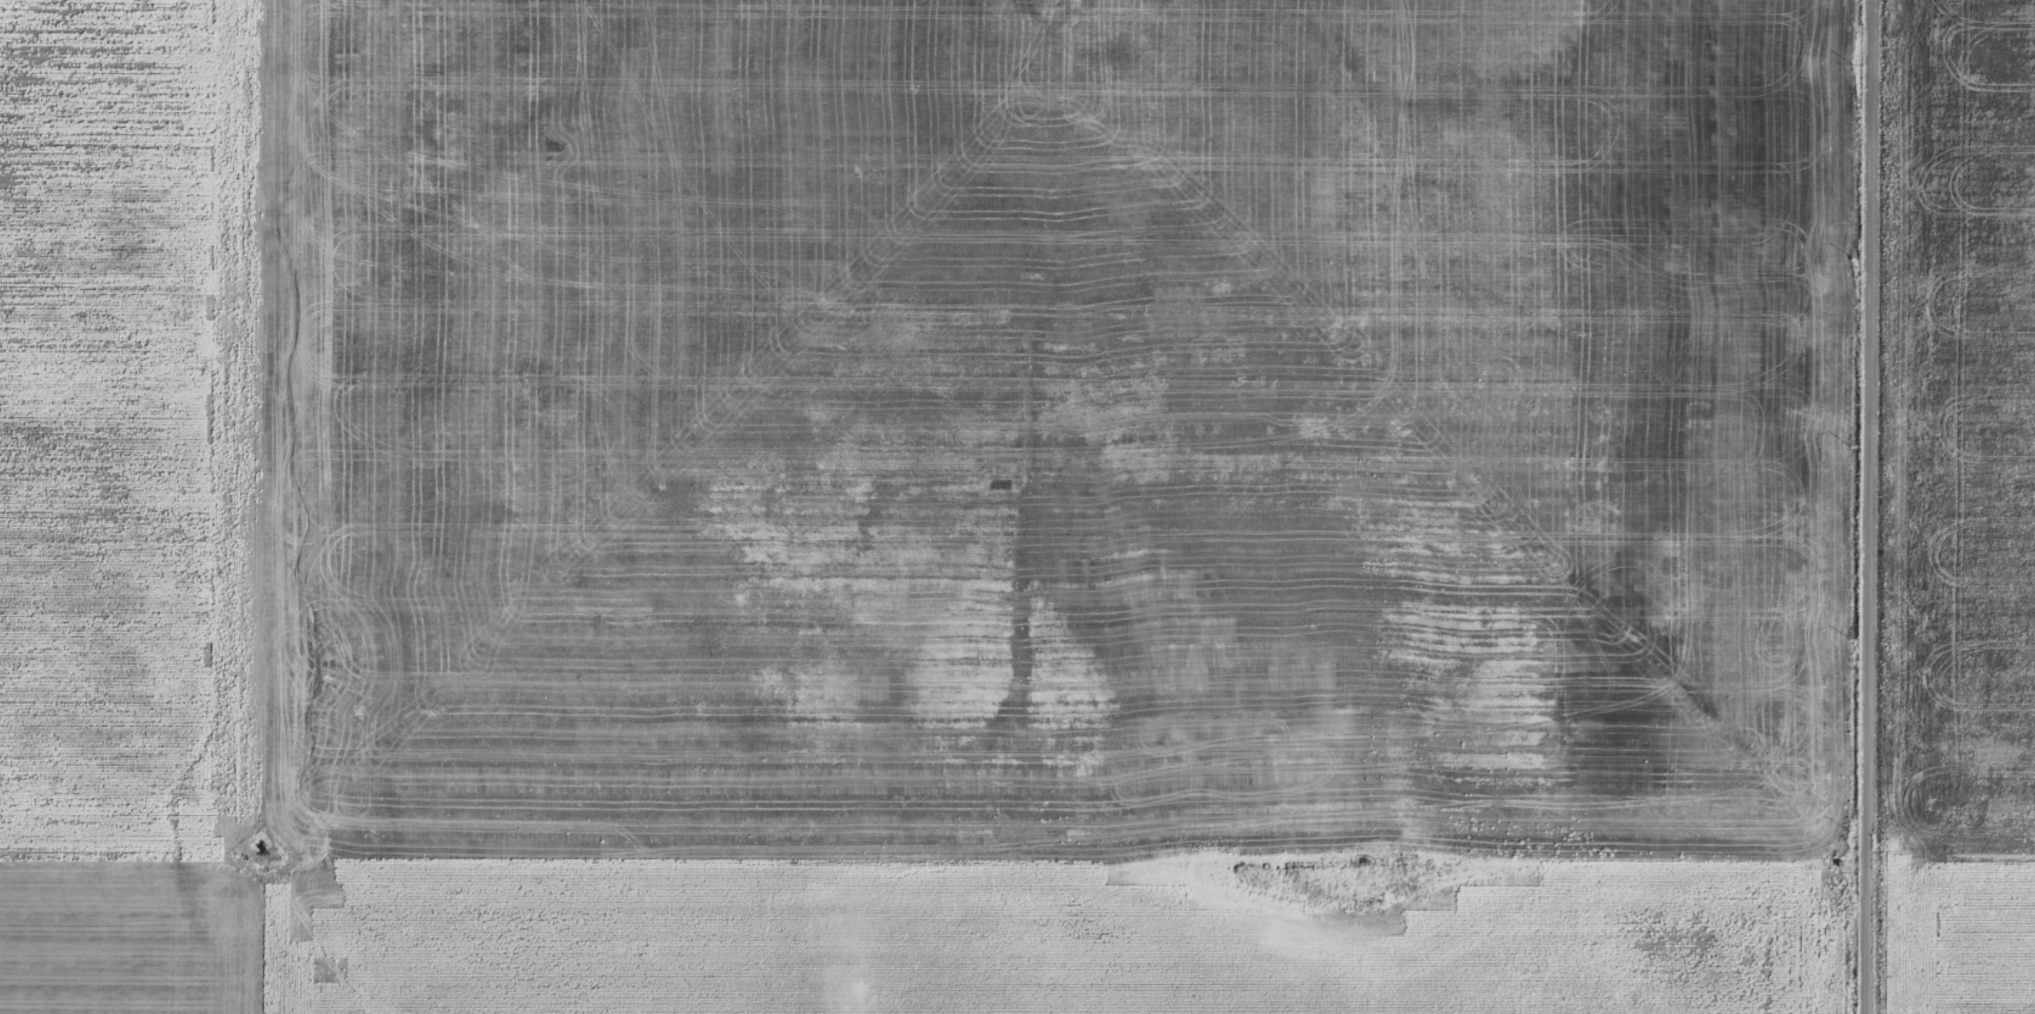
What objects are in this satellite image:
building: (1921, 51)
building: (1921, 126)
building: (1923, 368)
road: (1878, 507)

